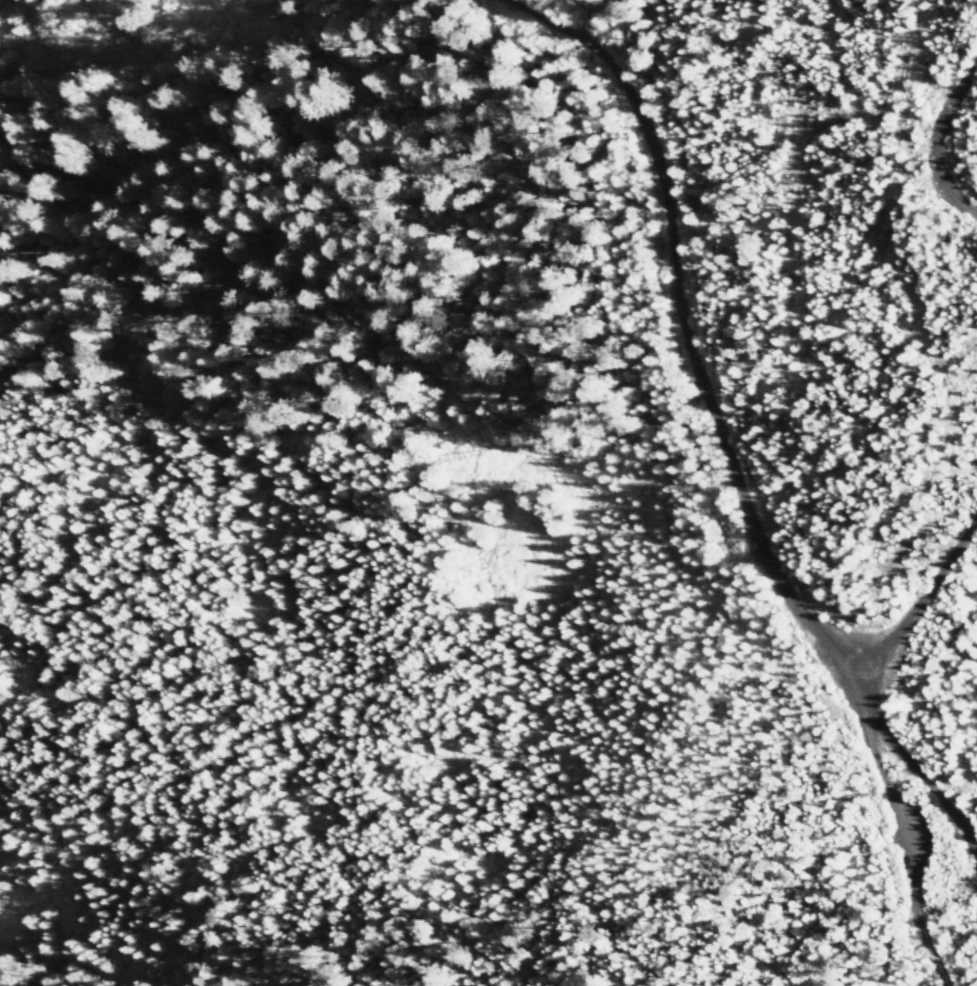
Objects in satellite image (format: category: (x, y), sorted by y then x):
road: (930, 134)
road: (681, 341)
road: (930, 587)
road: (910, 773)
road: (768, 790)
road: (885, 823)
parking lot: (899, 839)

